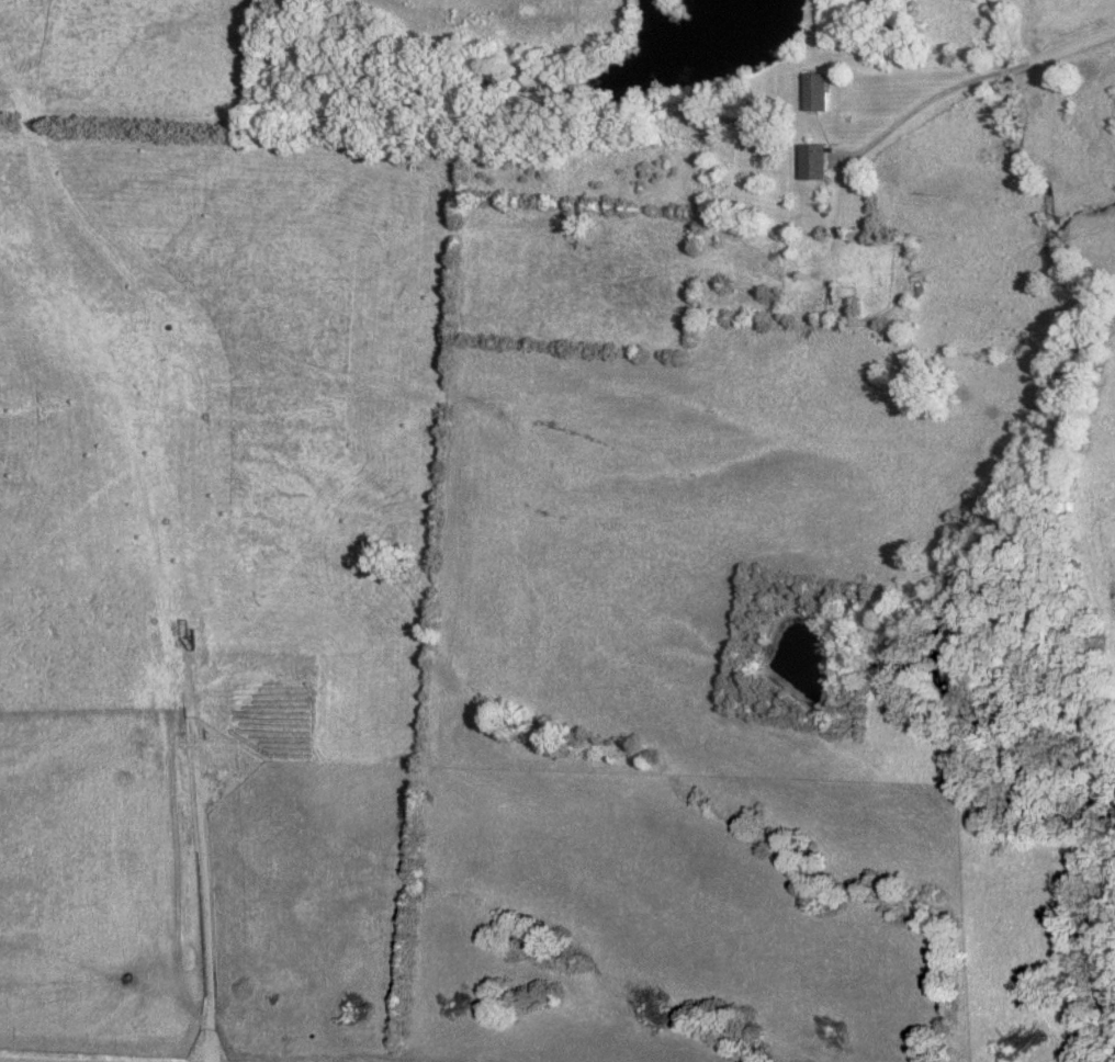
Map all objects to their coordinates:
road: (976, 82)
building: (813, 93)
building: (810, 163)

